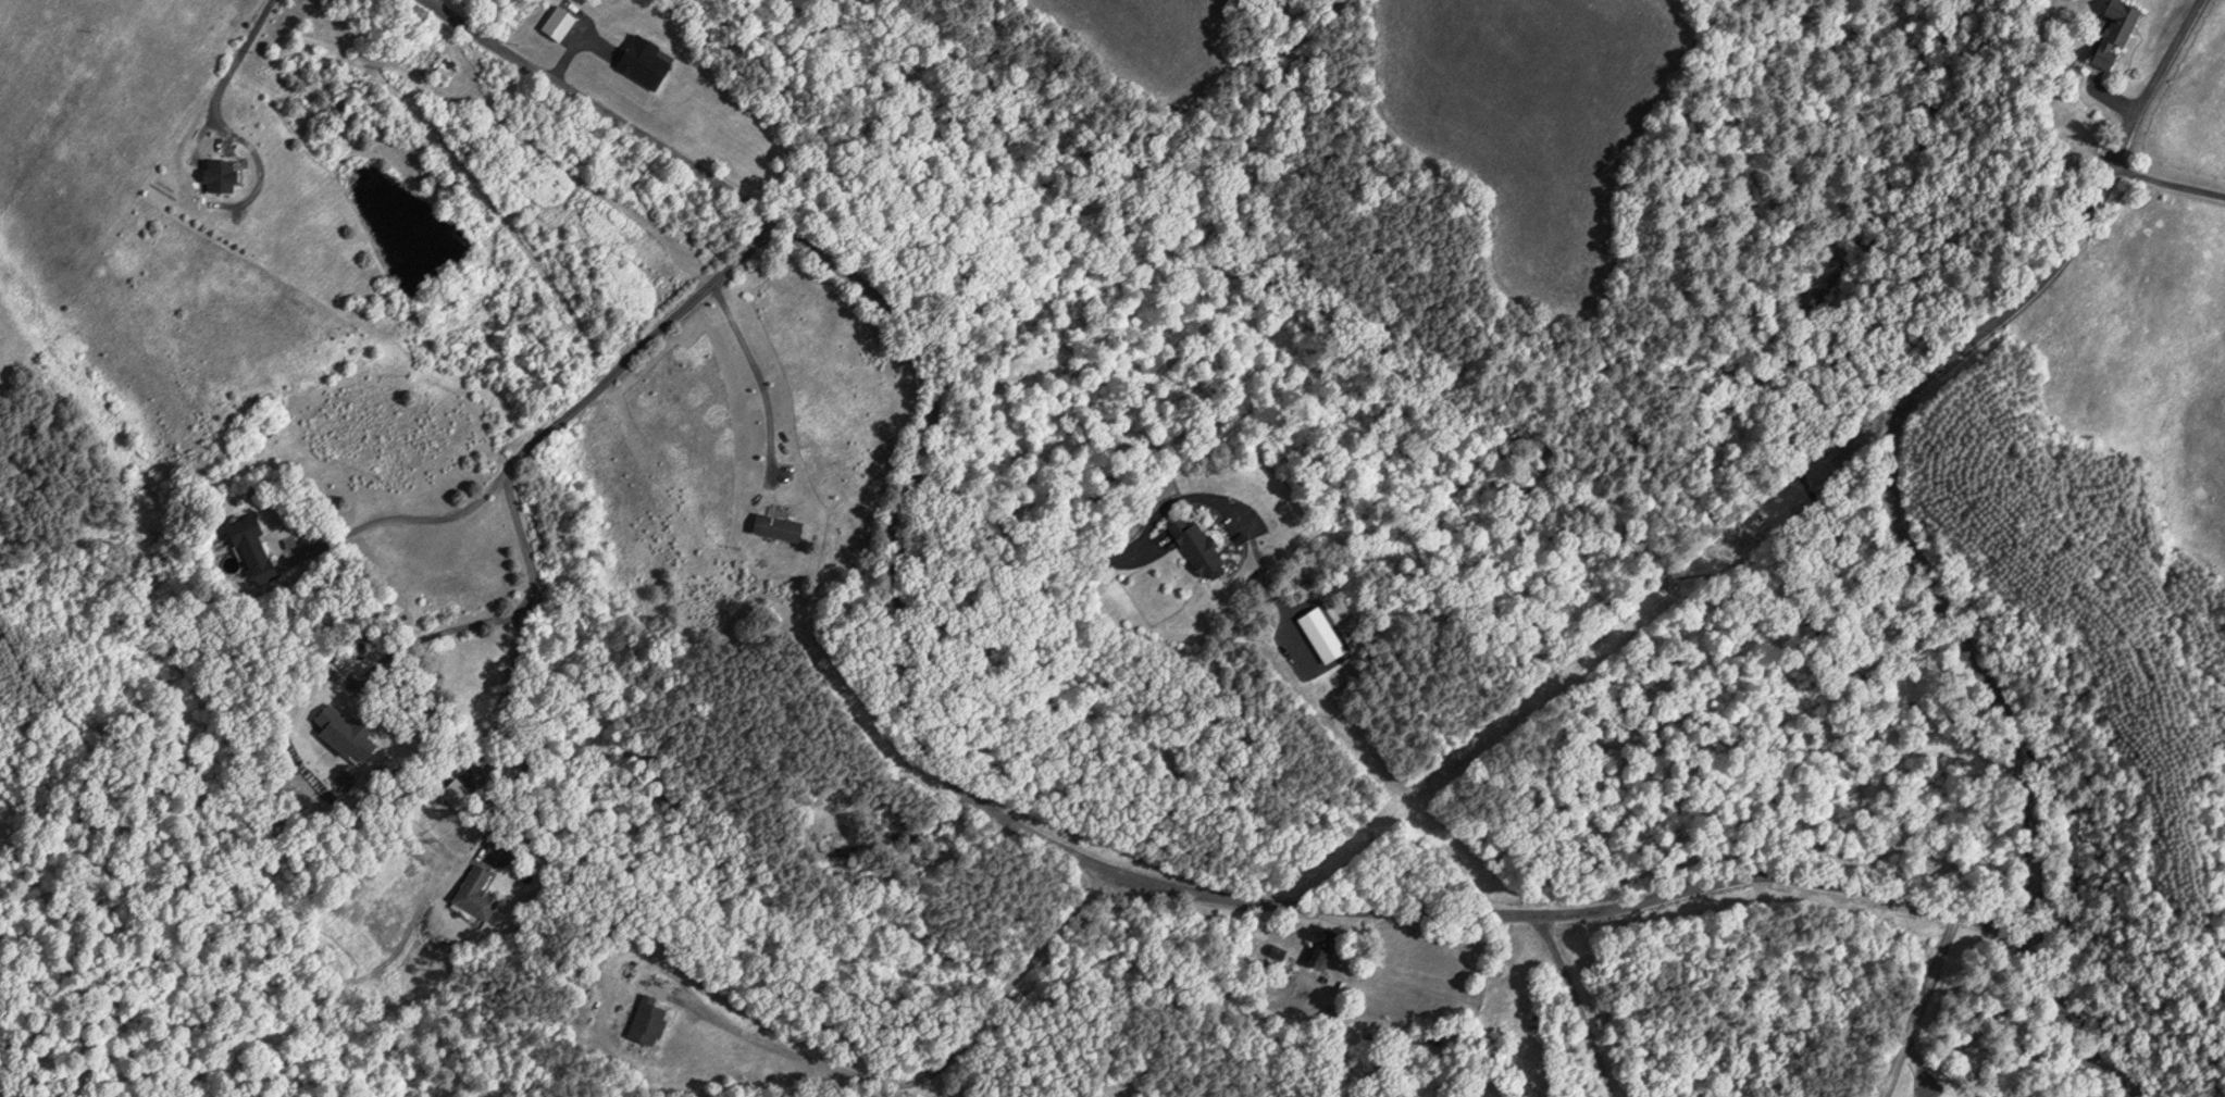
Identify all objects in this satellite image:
building: (2110, 33)
building: (428, 55)
road: (233, 62)
crop: (86, 127)
building: (226, 174)
road: (2166, 188)
road: (758, 373)
road: (586, 397)
road: (1906, 402)
road: (405, 515)
building: (771, 525)
building: (1189, 543)
building: (254, 547)
road: (426, 636)
building: (353, 728)
road: (971, 801)
road: (486, 823)
building: (481, 893)
road: (2035, 919)
building: (1309, 947)
building: (1271, 949)
road: (1581, 1003)
road: (1924, 1006)
building: (639, 1020)
road: (2067, 1042)
road: (934, 1069)

